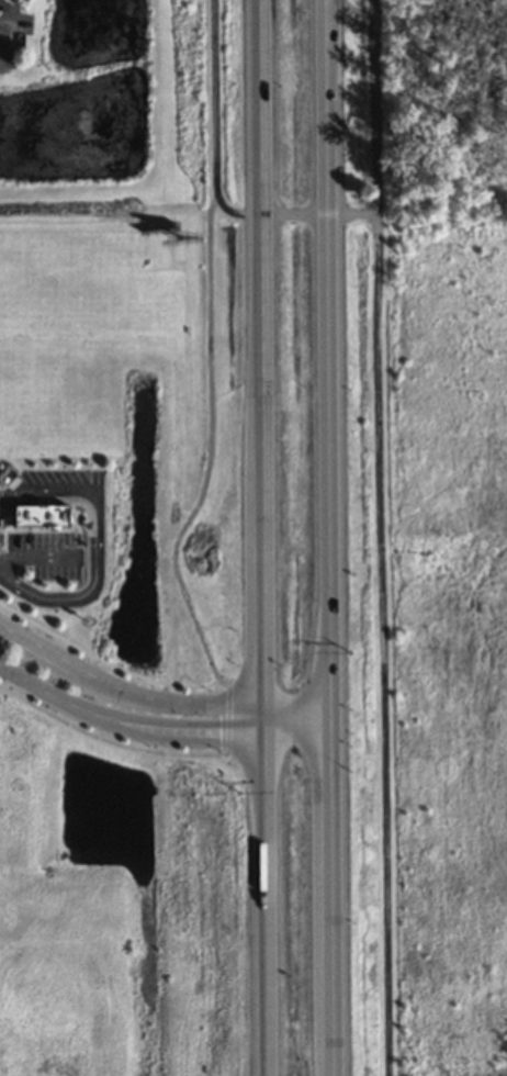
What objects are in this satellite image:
building: (0, 3)
road: (372, 105)
road: (216, 178)
road: (330, 537)
road: (266, 538)
road: (182, 593)
road: (383, 642)
road: (157, 698)
traffic signals: (333, 702)
traffic signals: (267, 703)
road: (159, 729)
traffic signals: (267, 733)
traffic signals: (333, 733)

